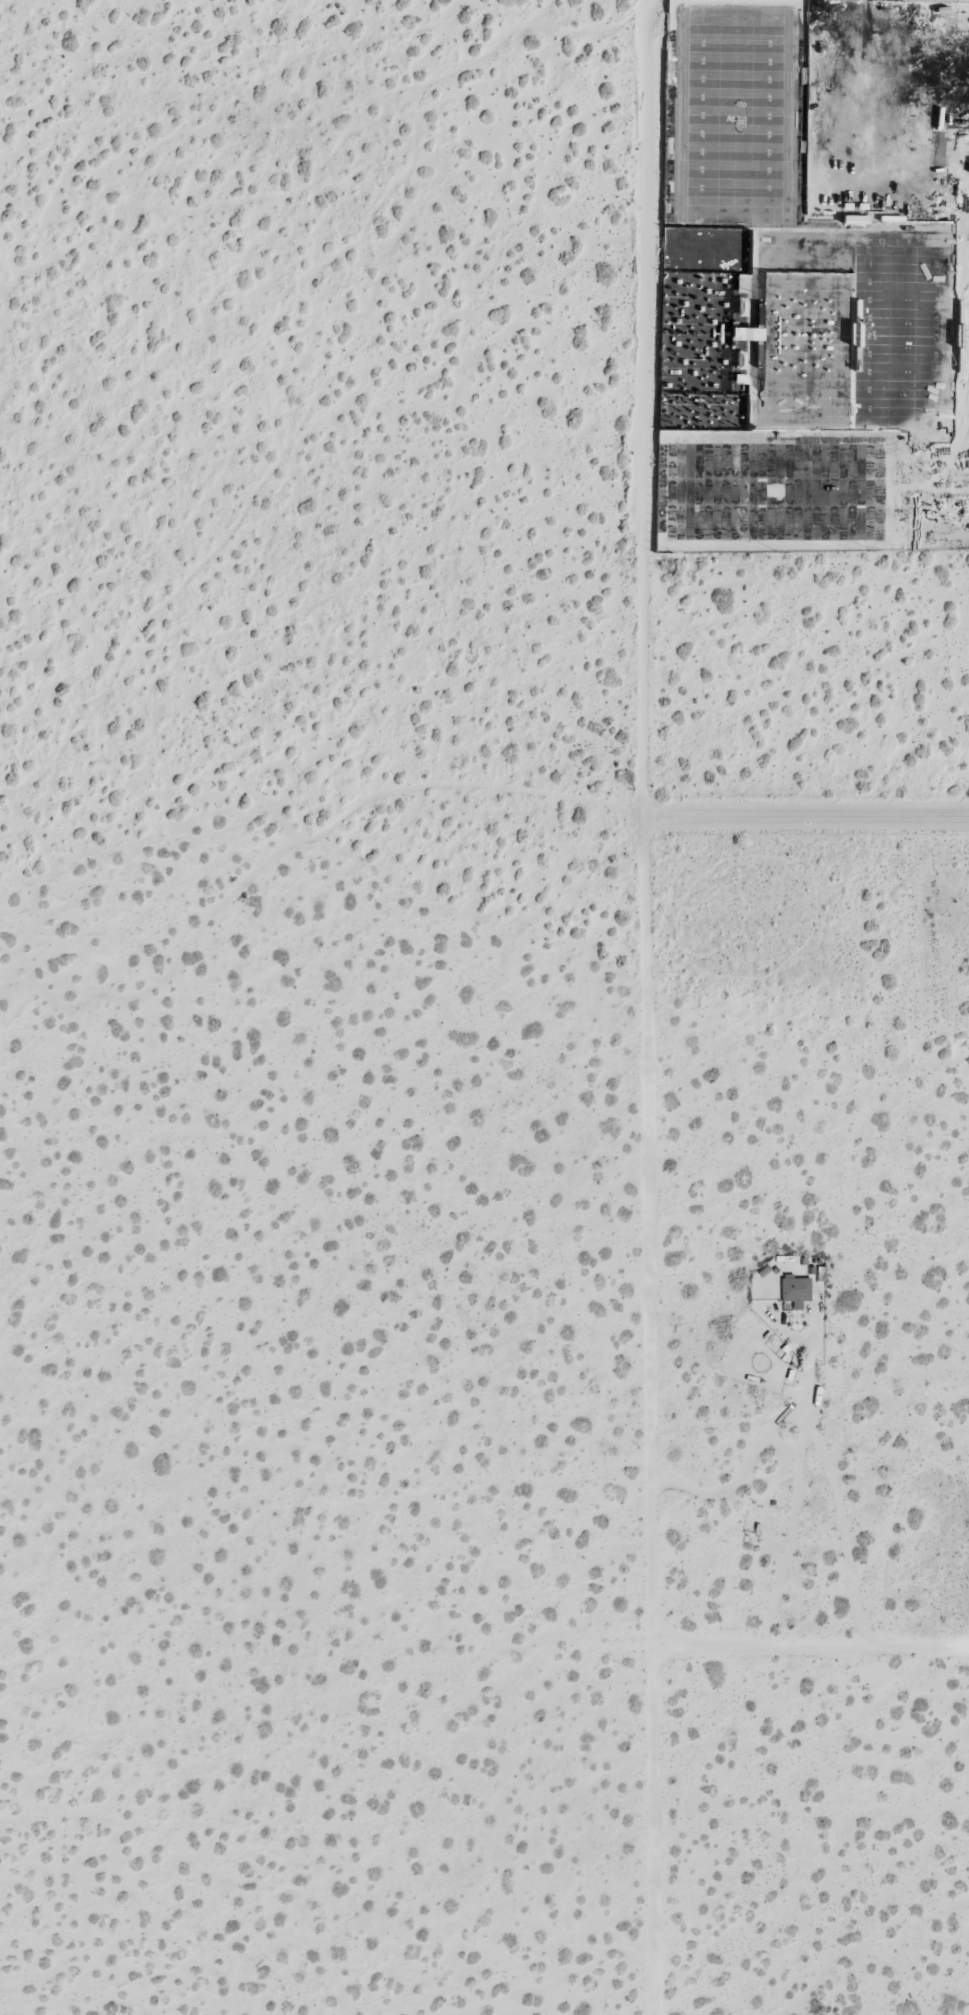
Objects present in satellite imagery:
road: (807, 815)
road: (647, 1007)
road: (813, 1433)
road: (809, 1645)

